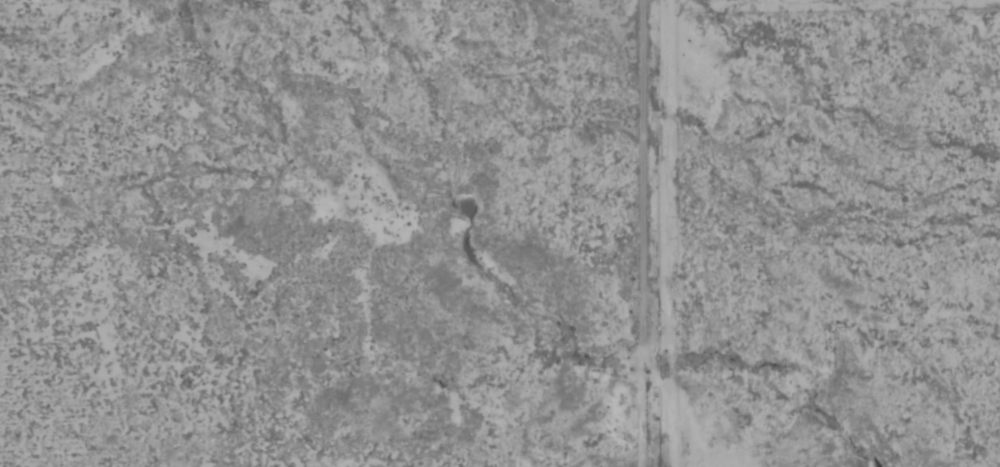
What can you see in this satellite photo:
road: (638, 233)

